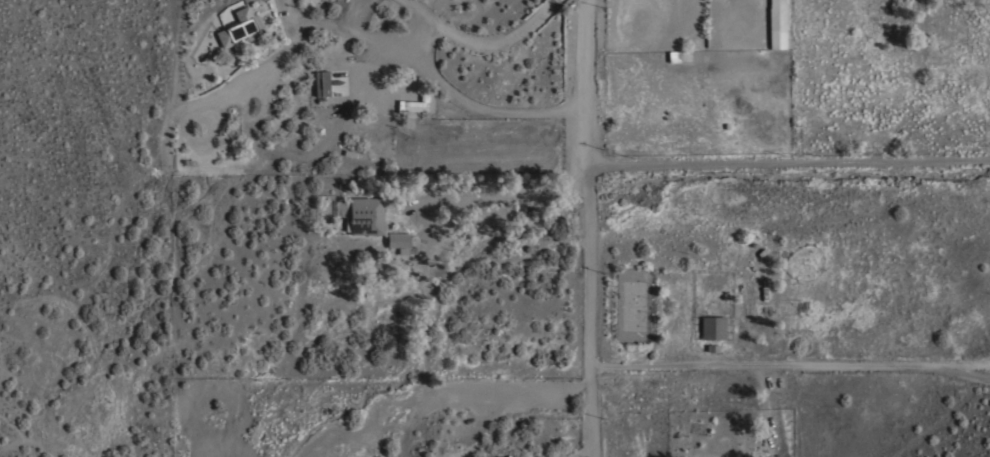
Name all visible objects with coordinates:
road: (551, 5)
building: (777, 24)
building: (240, 27)
road: (430, 33)
building: (321, 83)
road: (584, 84)
road: (481, 111)
road: (787, 165)
road: (504, 192)
building: (364, 216)
building: (400, 242)
road: (590, 312)
building: (713, 327)
road: (765, 361)
road: (963, 361)
road: (963, 368)

